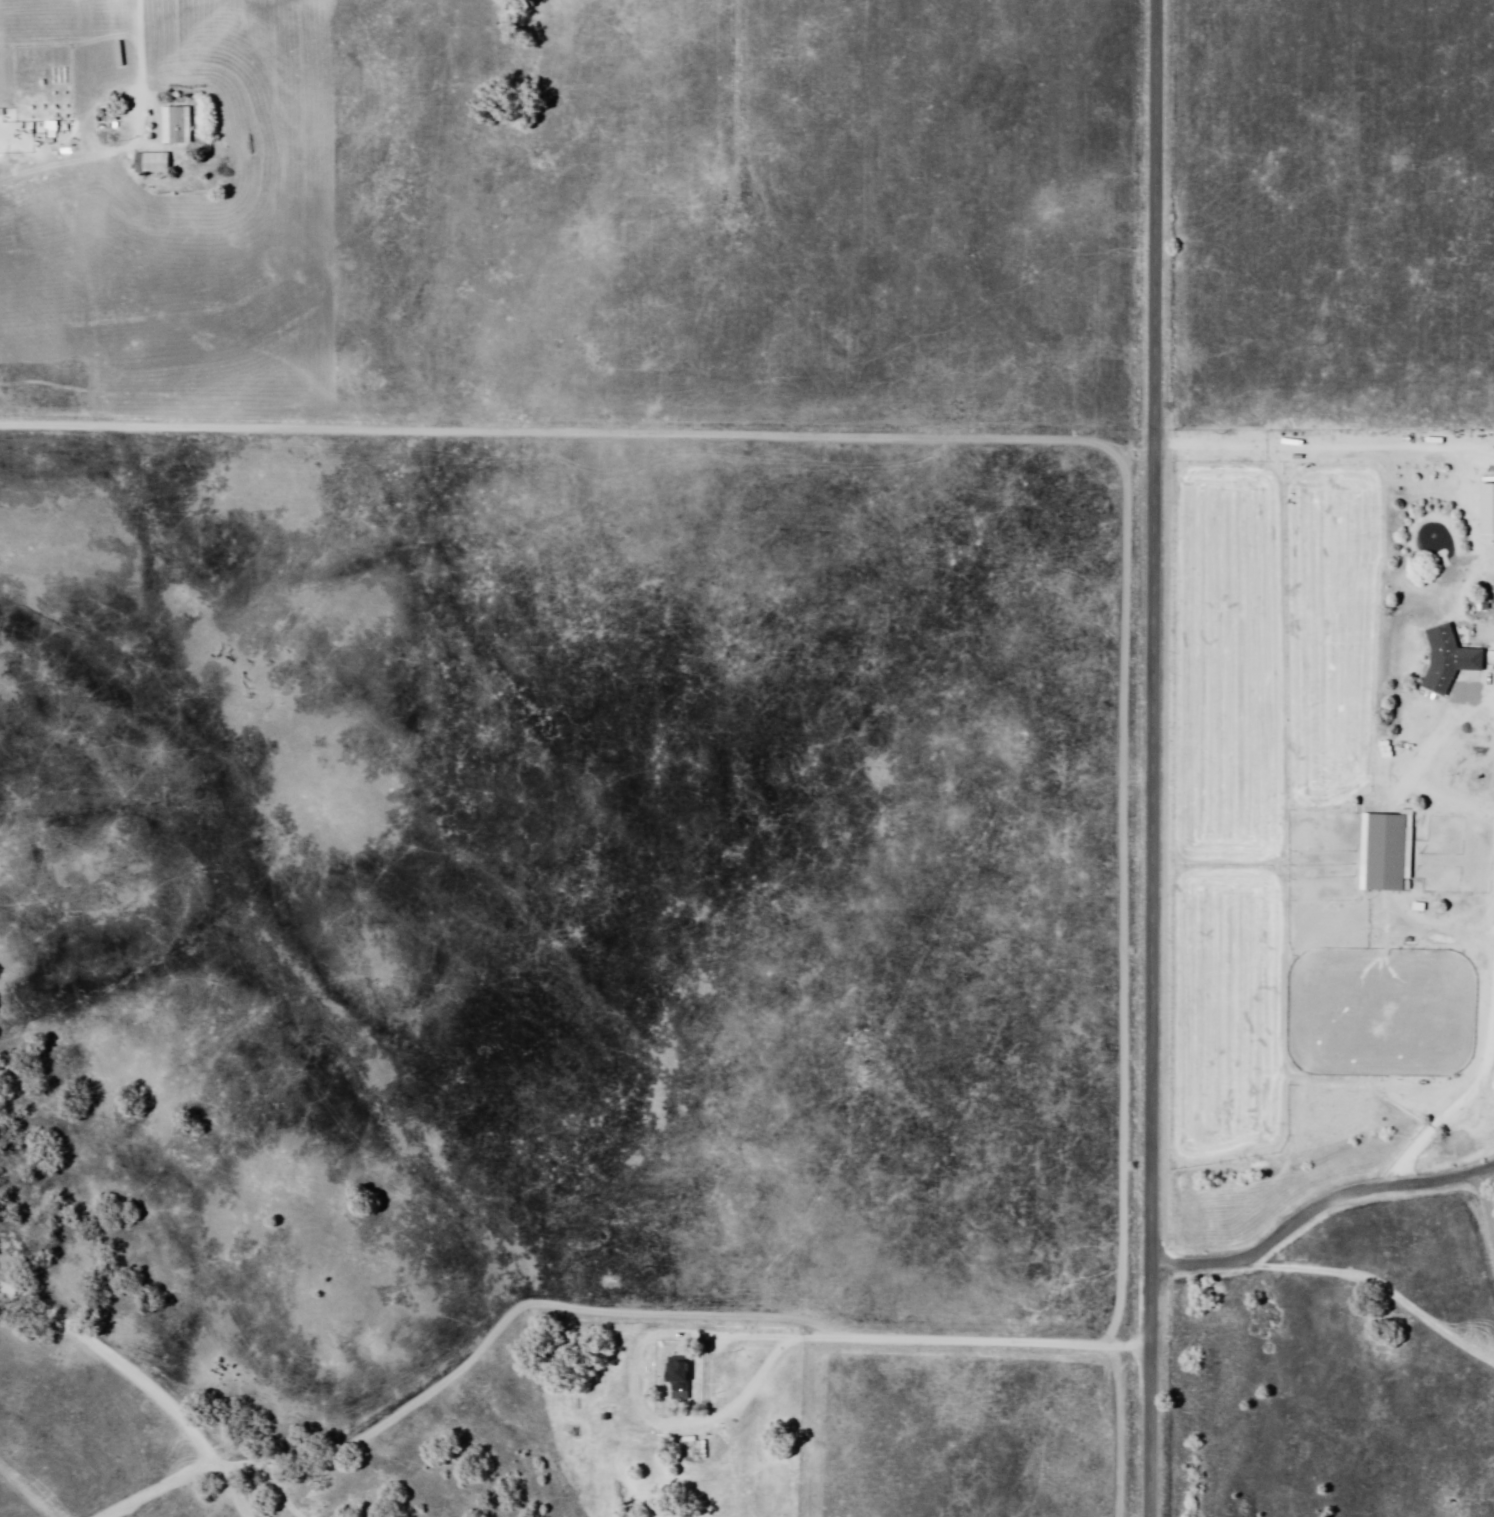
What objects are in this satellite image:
road: (734, 110)
building: (171, 126)
building: (146, 165)
road: (1363, 426)
building: (1445, 660)
road: (1152, 758)
building: (1382, 852)
road: (1320, 1214)
road: (605, 1335)
building: (673, 1378)
road: (160, 1379)

